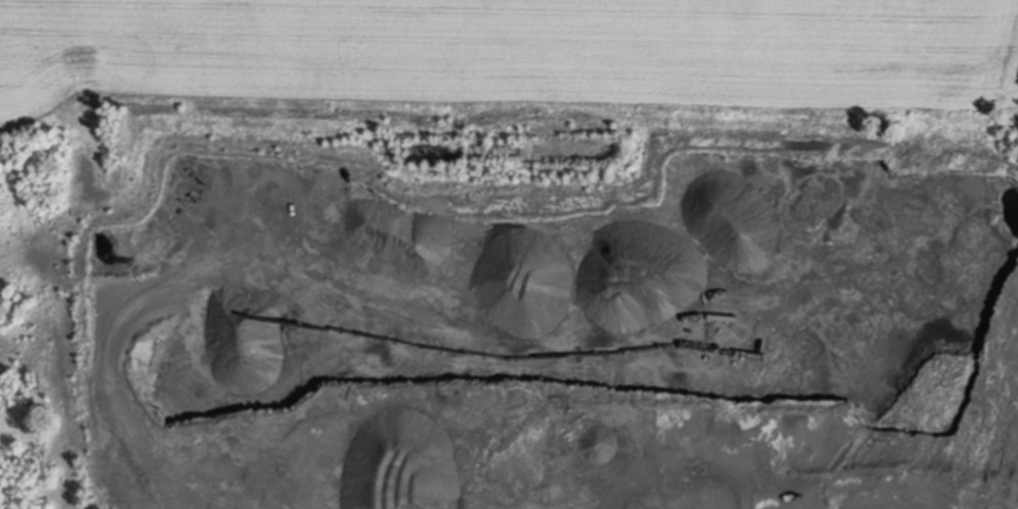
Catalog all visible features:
quarry: (509, 254)

